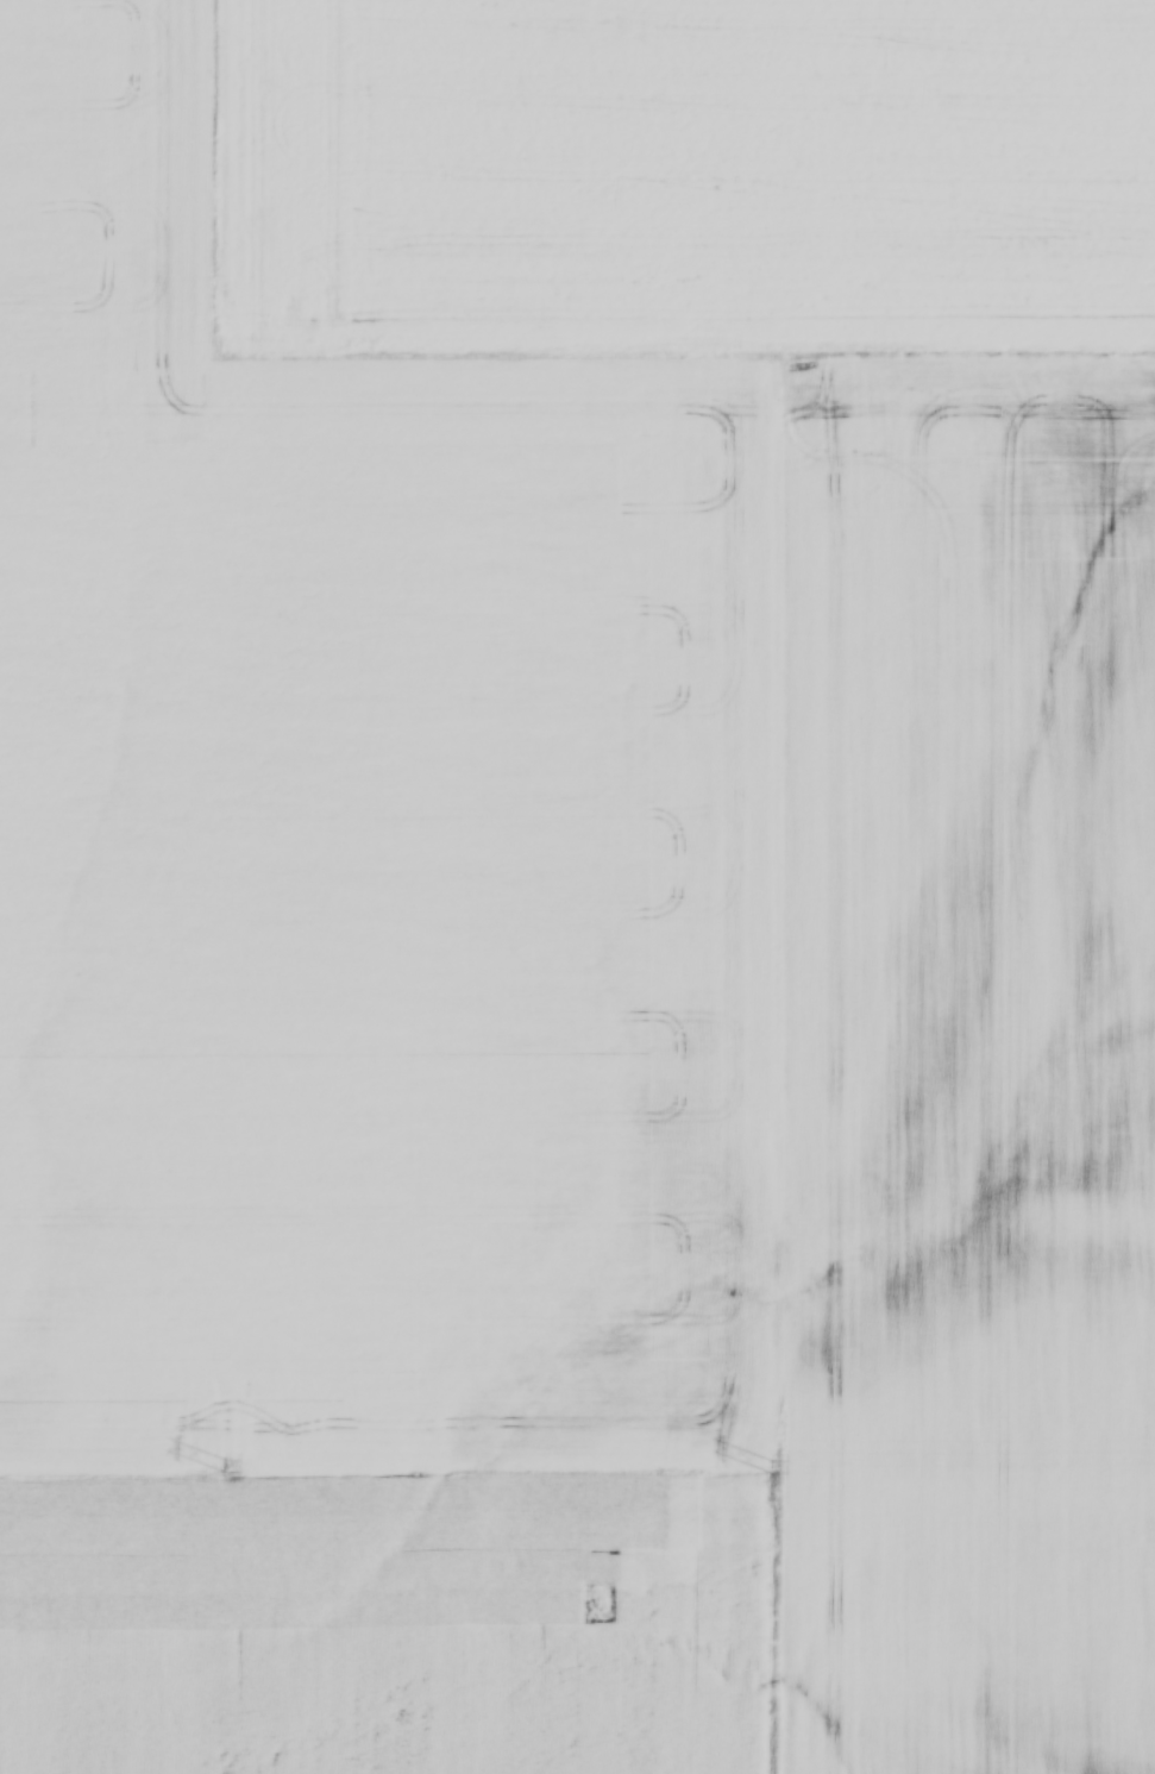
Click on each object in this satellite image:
power tower: (225, 1466)
power tower: (772, 1466)

